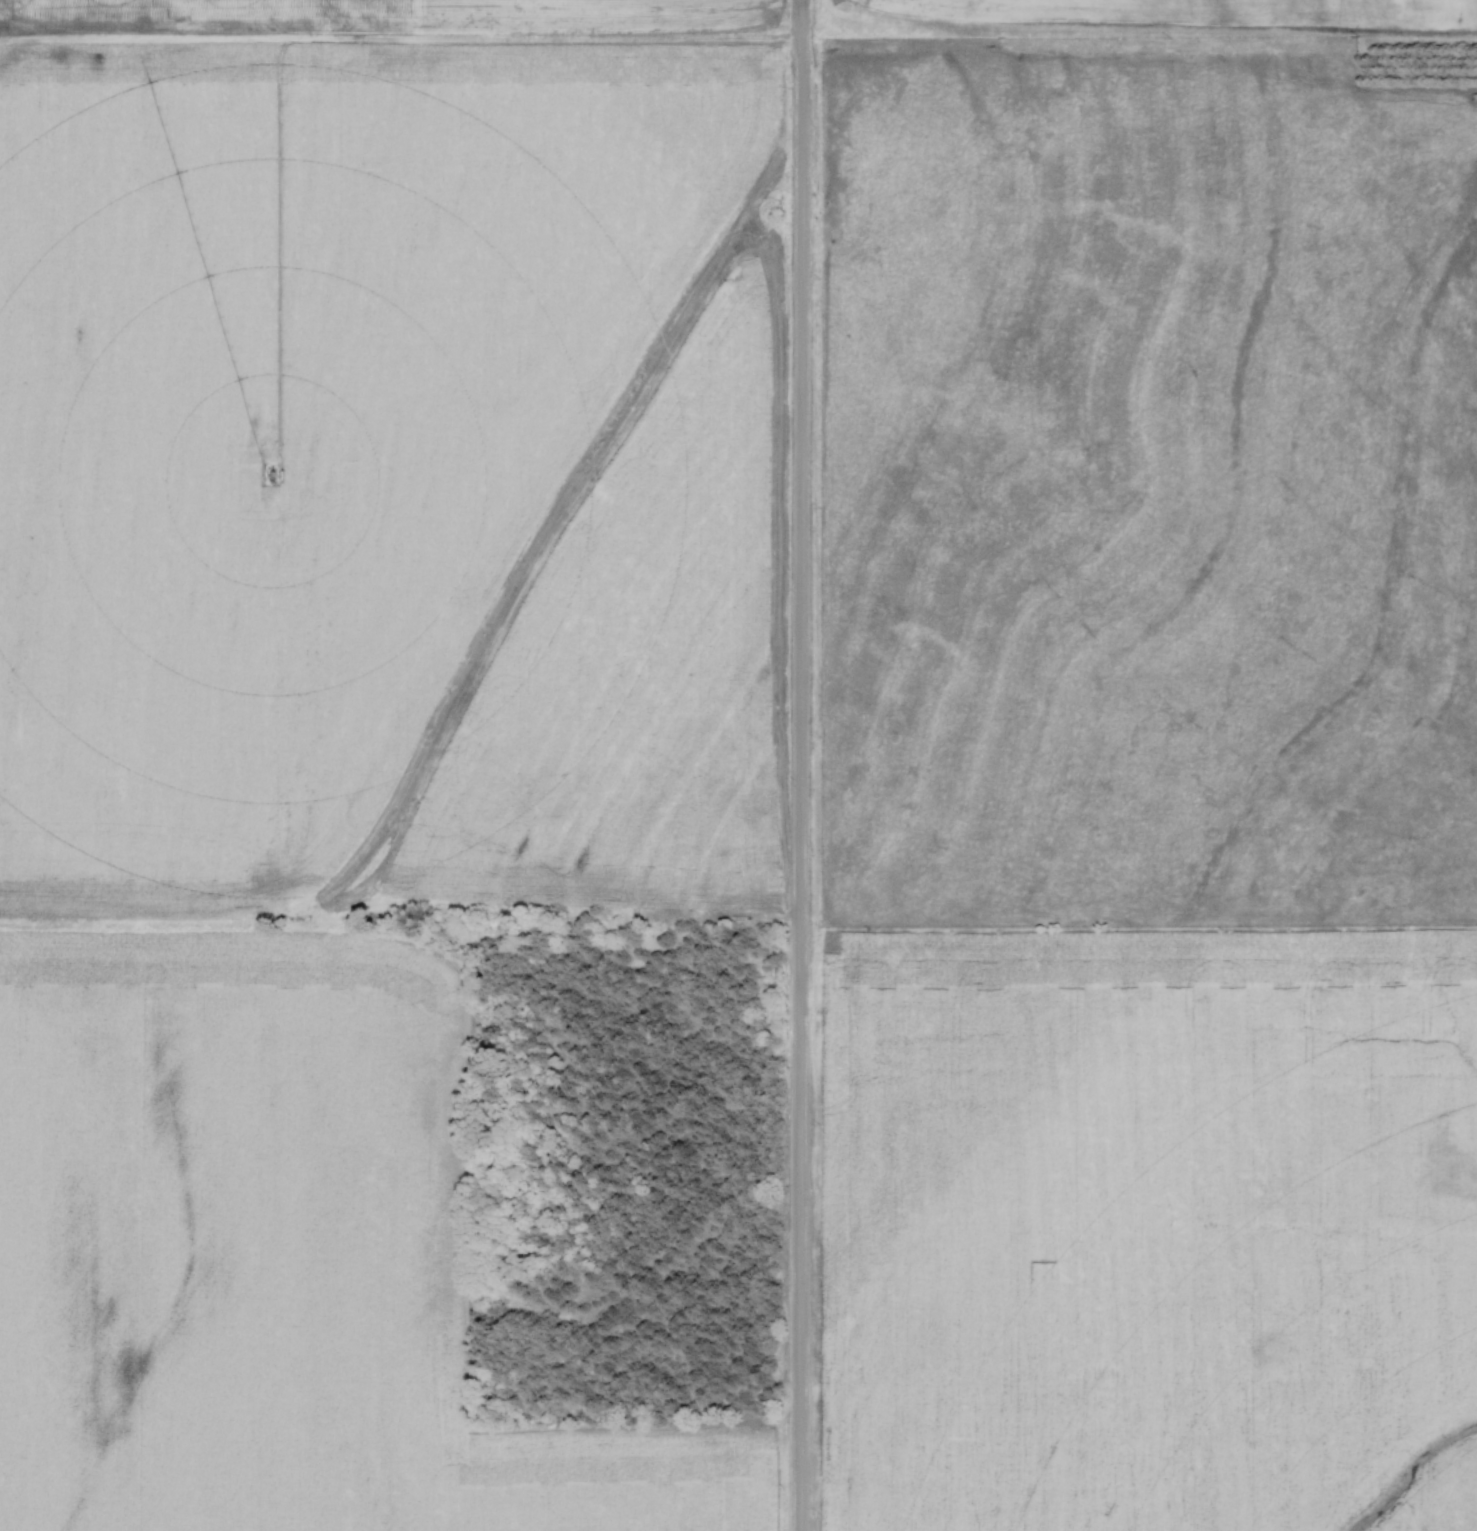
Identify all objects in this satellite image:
road: (800, 765)

